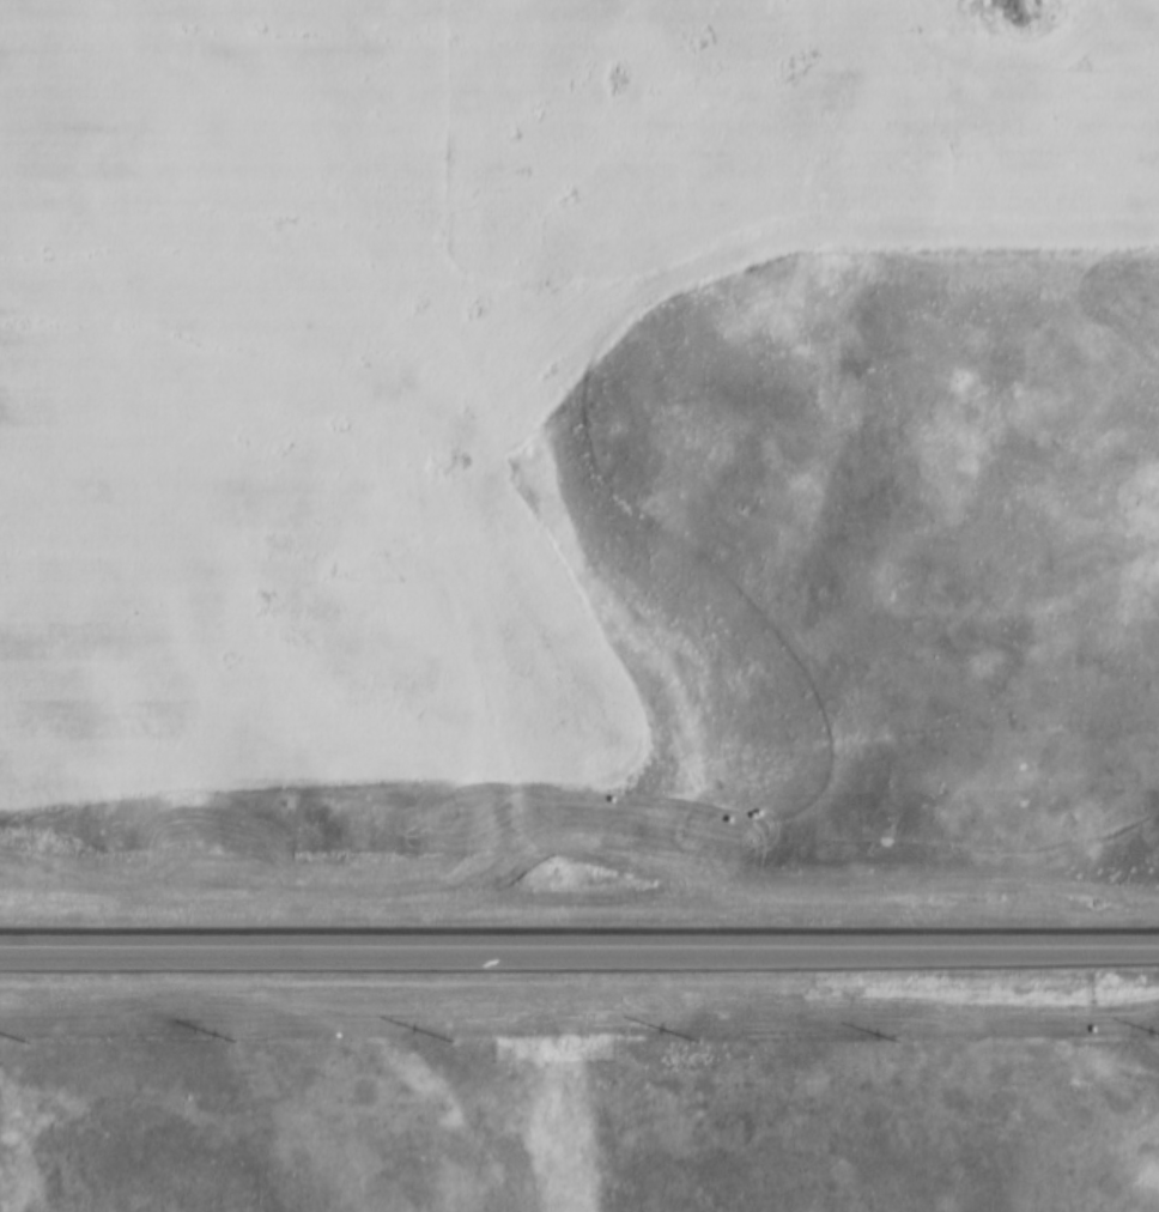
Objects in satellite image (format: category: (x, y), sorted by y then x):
road: (579, 944)

